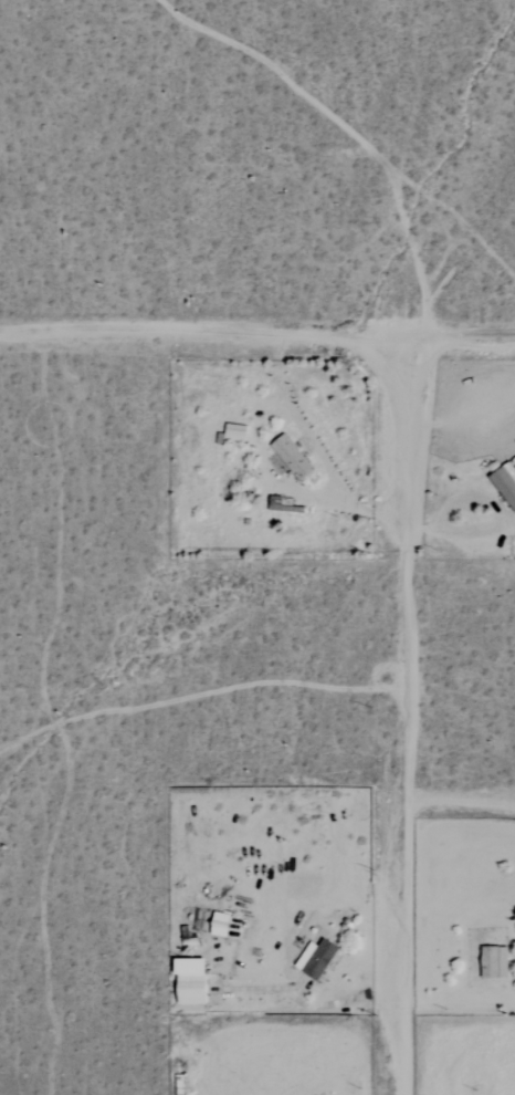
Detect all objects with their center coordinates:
road: (256, 342)
road: (255, 435)
building: (290, 457)
road: (401, 721)
building: (217, 925)
building: (314, 959)
building: (492, 962)

